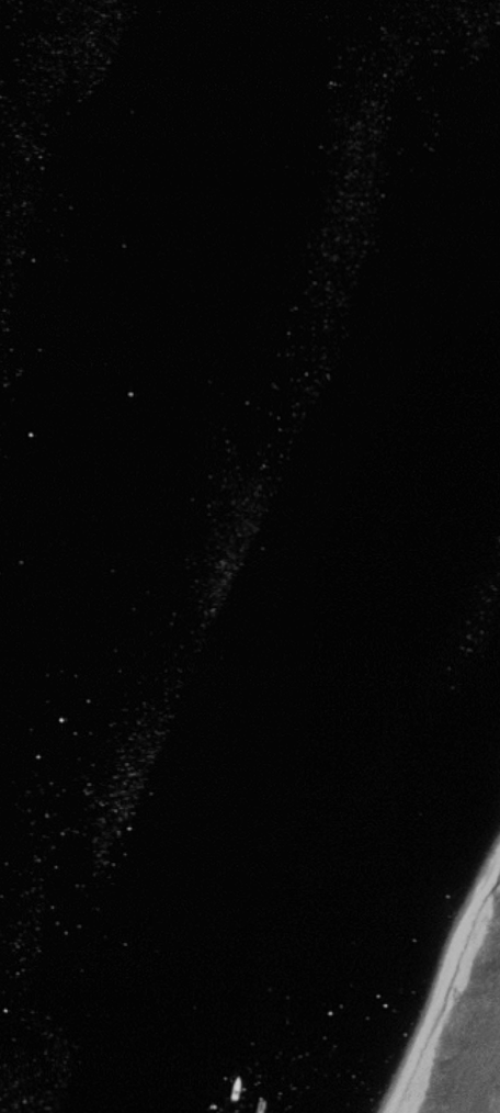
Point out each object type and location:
park: (409, 941)

